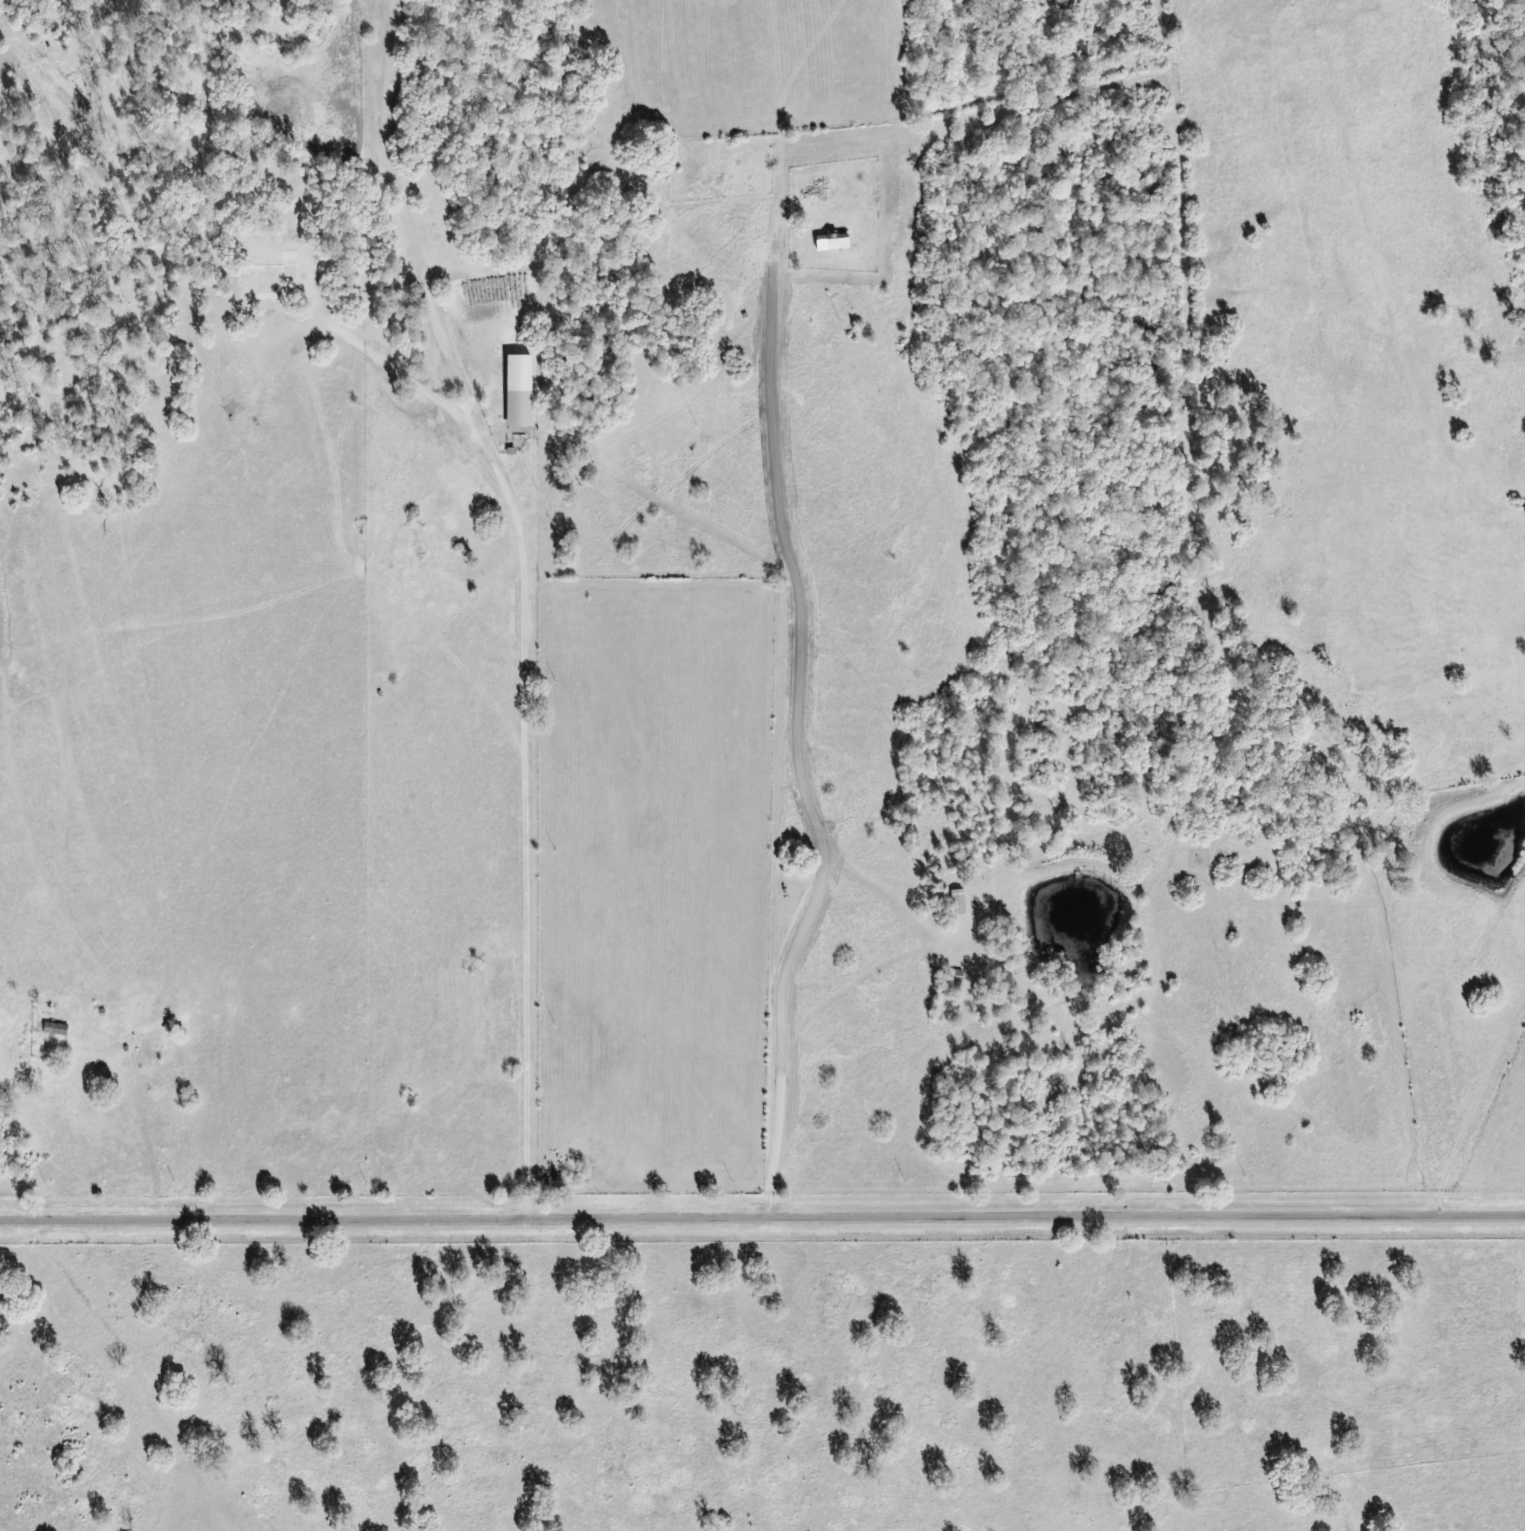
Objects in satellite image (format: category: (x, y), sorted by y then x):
building: (839, 241)
building: (520, 410)
road: (783, 741)
building: (959, 903)
building: (57, 1030)
building: (149, 1049)
building: (102, 1076)
road: (146, 1122)
road: (762, 1212)

